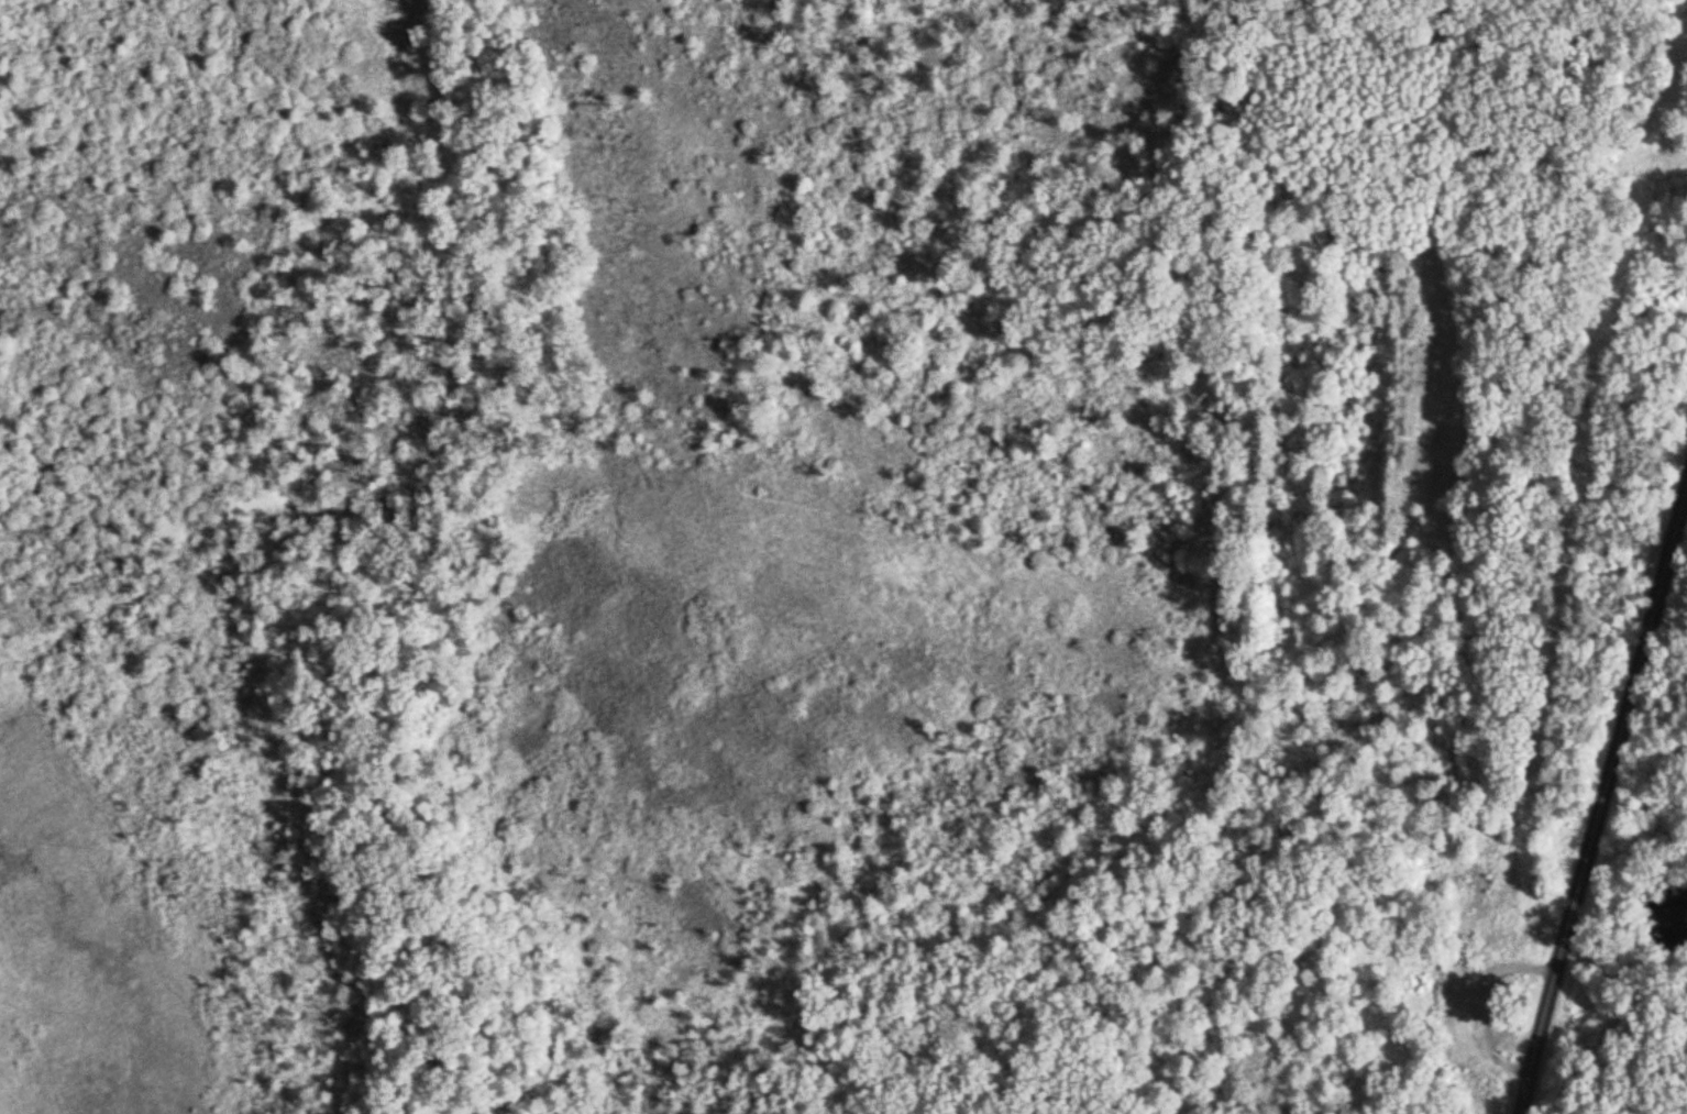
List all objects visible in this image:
road: (1603, 810)

